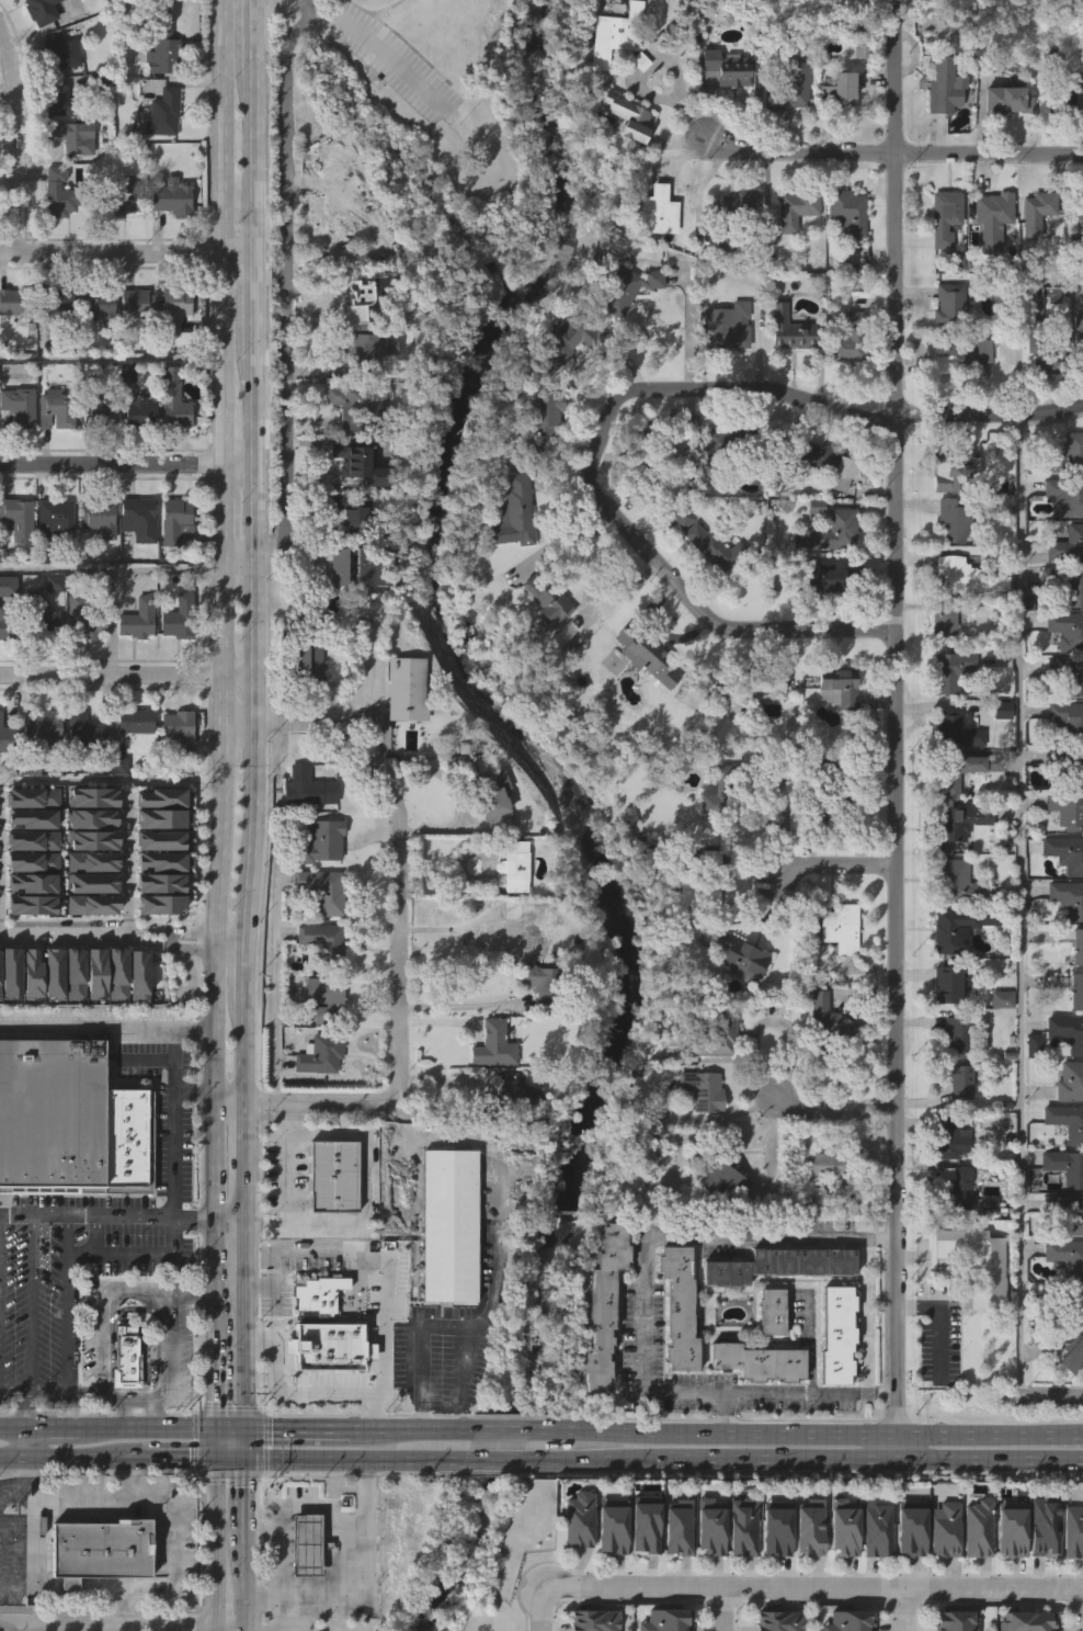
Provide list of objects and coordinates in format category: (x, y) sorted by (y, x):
building: (851, 0)
building: (42, 10)
building: (20, 15)
building: (435, 30)
building: (617, 36)
road: (251, 37)
road: (3, 45)
building: (166, 47)
building: (42, 48)
building: (61, 50)
road: (383, 50)
road: (671, 66)
building: (731, 66)
building: (611, 81)
building: (944, 84)
building: (794, 86)
building: (840, 89)
building: (60, 100)
building: (1005, 100)
building: (1069, 101)
building: (166, 112)
building: (723, 114)
building: (626, 116)
park: (419, 132)
building: (939, 133)
building: (73, 134)
building: (786, 136)
building: (836, 137)
road: (12, 141)
building: (1061, 145)
building: (55, 146)
building: (1002, 146)
building: (1075, 147)
road: (889, 156)
building: (160, 159)
building: (624, 165)
road: (250, 167)
building: (69, 182)
building: (60, 192)
building: (122, 196)
building: (173, 196)
building: (737, 204)
building: (800, 206)
building: (661, 209)
building: (851, 211)
building: (1036, 211)
building: (942, 216)
building: (993, 217)
building: (1079, 218)
road: (218, 235)
building: (55, 238)
building: (727, 238)
building: (121, 242)
building: (169, 243)
building: (730, 249)
building: (791, 256)
road: (125, 257)
building: (654, 258)
building: (844, 258)
building: (1033, 259)
building: (941, 263)
building: (988, 264)
building: (1076, 265)
building: (632, 285)
building: (719, 291)
building: (947, 297)
building: (56, 299)
building: (360, 301)
road: (285, 302)
building: (16, 303)
building: (102, 306)
building: (136, 306)
road: (251, 308)
building: (171, 316)
road: (1008, 316)
building: (376, 329)
building: (733, 329)
building: (789, 329)
building: (1078, 332)
building: (620, 336)
building: (565, 339)
building: (851, 339)
building: (55, 346)
building: (1039, 347)
building: (9, 348)
building: (134, 349)
building: (957, 349)
building: (94, 351)
building: (362, 352)
building: (171, 354)
road: (110, 356)
building: (726, 375)
building: (786, 376)
building: (1076, 383)
building: (1028, 384)
building: (844, 386)
building: (558, 387)
road: (753, 394)
building: (955, 400)
building: (176, 401)
building: (20, 405)
building: (362, 408)
building: (57, 409)
building: (104, 409)
building: (546, 411)
building: (141, 412)
building: (123, 418)
road: (989, 419)
building: (728, 442)
building: (170, 446)
building: (16, 452)
building: (660, 452)
building: (1064, 455)
building: (52, 456)
building: (827, 457)
building: (95, 458)
building: (137, 458)
building: (539, 462)
building: (364, 465)
road: (111, 468)
road: (238, 469)
building: (955, 471)
building: (716, 485)
building: (666, 491)
building: (1064, 495)
building: (814, 502)
building: (516, 511)
building: (354, 513)
road: (220, 514)
building: (101, 517)
building: (137, 517)
building: (19, 518)
building: (54, 519)
building: (175, 519)
building: (950, 520)
building: (837, 525)
building: (711, 541)
building: (1069, 546)
building: (812, 552)
building: (509, 560)
building: (679, 563)
building: (15, 564)
building: (50, 564)
building: (95, 564)
building: (135, 565)
building: (171, 565)
building: (343, 566)
road: (110, 568)
building: (830, 573)
building: (955, 574)
building: (1064, 584)
building: (9, 586)
building: (704, 593)
road: (675, 594)
building: (550, 599)
building: (334, 612)
building: (181, 616)
building: (39, 618)
building: (139, 618)
building: (368, 618)
building: (86, 619)
building: (941, 620)
building: (7, 626)
building: (1064, 631)
building: (543, 643)
road: (251, 645)
building: (649, 653)
building: (312, 658)
building: (80, 664)
building: (175, 664)
building: (43, 666)
building: (132, 669)
building: (947, 670)
road: (125, 676)
building: (1067, 676)
building: (761, 687)
building: (842, 687)
building: (403, 688)
road: (896, 696)
building: (642, 702)
building: (304, 706)
building: (137, 721)
building: (1065, 721)
building: (43, 729)
building: (953, 730)
building: (87, 732)
building: (180, 732)
building: (760, 733)
building: (833, 733)
building: (401, 735)
building: (8, 737)
road: (218, 746)
building: (1067, 763)
building: (132, 767)
building: (38, 773)
building: (81, 777)
road: (109, 777)
building: (174, 777)
building: (729, 781)
building: (945, 783)
building: (4, 784)
building: (848, 786)
building: (308, 789)
building: (33, 792)
building: (94, 792)
building: (162, 797)
building: (492, 798)
building: (819, 803)
building: (1063, 809)
building: (34, 813)
building: (93, 813)
building: (159, 819)
building: (957, 822)
building: (714, 834)
building: (33, 835)
building: (95, 835)
building: (304, 835)
building: (159, 840)
building: (322, 840)
building: (490, 848)
building: (1063, 852)
building: (33, 857)
building: (92, 857)
building: (160, 861)
road: (126, 862)
building: (978, 863)
building: (509, 865)
road: (840, 865)
building: (34, 877)
building: (94, 877)
building: (706, 882)
building: (951, 882)
building: (158, 883)
building: (326, 888)
building: (1065, 898)
building: (33, 899)
building: (93, 899)
building: (159, 904)
road: (1019, 908)
building: (512, 913)
road: (398, 918)
building: (958, 926)
road: (448, 927)
building: (30, 928)
building: (90, 928)
building: (157, 928)
building: (521, 929)
building: (837, 929)
road: (173, 930)
road: (67, 931)
road: (230, 933)
road: (215, 940)
road: (247, 940)
building: (326, 942)
road: (172, 944)
building: (1076, 945)
road: (230, 947)
building: (158, 949)
building: (31, 950)
building: (89, 950)
building: (743, 955)
building: (11, 966)
building: (33, 967)
building: (55, 967)
building: (96, 967)
building: (76, 969)
building: (118, 969)
building: (139, 971)
building: (836, 974)
building: (517, 976)
road: (246, 979)
building: (544, 984)
building: (944, 985)
building: (1075, 992)
building: (323, 996)
building: (999, 999)
building: (737, 1003)
road: (456, 1005)
building: (8, 1018)
building: (29, 1018)
building: (50, 1018)
building: (92, 1018)
building: (71, 1019)
building: (114, 1019)
building: (136, 1021)
building: (825, 1022)
building: (534, 1028)
road: (106, 1030)
building: (715, 1030)
building: (943, 1030)
building: (1067, 1032)
building: (956, 1034)
building: (495, 1043)
building: (996, 1044)
road: (243, 1053)
building: (321, 1053)
road: (173, 1062)
building: (823, 1066)
building: (955, 1078)
building: (1068, 1081)
building: (706, 1089)
building: (490, 1090)
building: (1029, 1090)
road: (228, 1092)
building: (510, 1098)
building: (316, 1100)
road: (833, 1106)
building: (52, 1111)
building: (1064, 1120)
building: (946, 1135)
building: (512, 1136)
building: (698, 1136)
building: (126, 1137)
road: (172, 1137)
road: (215, 1139)
road: (244, 1157)
building: (836, 1163)
building: (1062, 1166)
building: (333, 1171)
building: (722, 1171)
road: (493, 1174)
road: (287, 1178)
road: (364, 1182)
building: (955, 1189)
building: (821, 1210)
building: (1067, 1211)
road: (123, 1220)
building: (330, 1221)
building: (718, 1223)
building: (447, 1224)
building: (954, 1232)
road: (885, 1238)
road: (246, 1253)
road: (118, 1254)
building: (1065, 1256)
building: (780, 1260)
road: (385, 1271)
building: (984, 1276)
building: (323, 1292)
road: (112, 1294)
building: (1073, 1303)
road: (30, 1304)
building: (679, 1304)
road: (67, 1305)
building: (603, 1305)
building: (772, 1306)
building: (971, 1309)
road: (642, 1313)
road: (939, 1317)
road: (444, 1330)
building: (837, 1330)
building: (328, 1343)
building: (129, 1353)
building: (675, 1353)
road: (246, 1355)
building: (1072, 1355)
building: (759, 1357)
road: (215, 1378)
building: (833, 1380)
road: (12, 1390)
building: (324, 1392)
road: (162, 1394)
road: (886, 1394)
road: (1052, 1397)
building: (1069, 1398)
building: (122, 1400)
traffic signals: (216, 1403)
building: (754, 1406)
road: (146, 1409)
road: (122, 1411)
road: (726, 1412)
road: (894, 1413)
road: (12, 1424)
road: (52, 1424)
road: (147, 1426)
road: (231, 1426)
traffic signals: (265, 1426)
road: (296, 1426)
road: (410, 1427)
road: (502, 1427)
road: (711, 1430)
road: (989, 1431)
road: (24, 1439)
road: (216, 1440)
road: (247, 1440)
road: (894, 1445)
road: (59, 1454)
road: (168, 1456)
traffic signals: (195, 1456)
road: (231, 1456)
road: (354, 1456)
road: (707, 1456)
road: (989, 1457)
road: (490, 1458)
road: (121, 1475)
traffic signals: (247, 1477)
road: (12, 1496)
road: (25, 1499)
road: (301, 1507)
road: (173, 1509)
building: (579, 1519)
road: (215, 1522)
building: (645, 1524)
building: (1044, 1524)
building: (910, 1525)
building: (609, 1526)
building: (945, 1526)
building: (978, 1526)
building: (1011, 1526)
building: (877, 1528)
building: (1072, 1528)
building: (306, 1542)
gas station: (306, 1542)
road: (244, 1543)
building: (96, 1549)
building: (574, 1565)
building: (640, 1570)
building: (1040, 1571)
building: (607, 1572)
building: (674, 1572)
building: (707, 1572)
building: (740, 1572)
building: (774, 1573)
building: (808, 1573)
building: (841, 1573)
building: (907, 1574)
building: (941, 1574)
building: (973, 1574)
building: (1006, 1574)
building: (873, 1575)
road: (358, 1577)
building: (1071, 1577)
road: (811, 1586)
building: (301, 1590)
building: (98, 1595)
road: (540, 1607)
road: (720, 1608)
road: (907, 1608)
road: (213, 1609)
road: (106, 1627)
road: (18, 1629)
road: (99, 1629)
road: (212, 1630)
road: (220, 1630)

